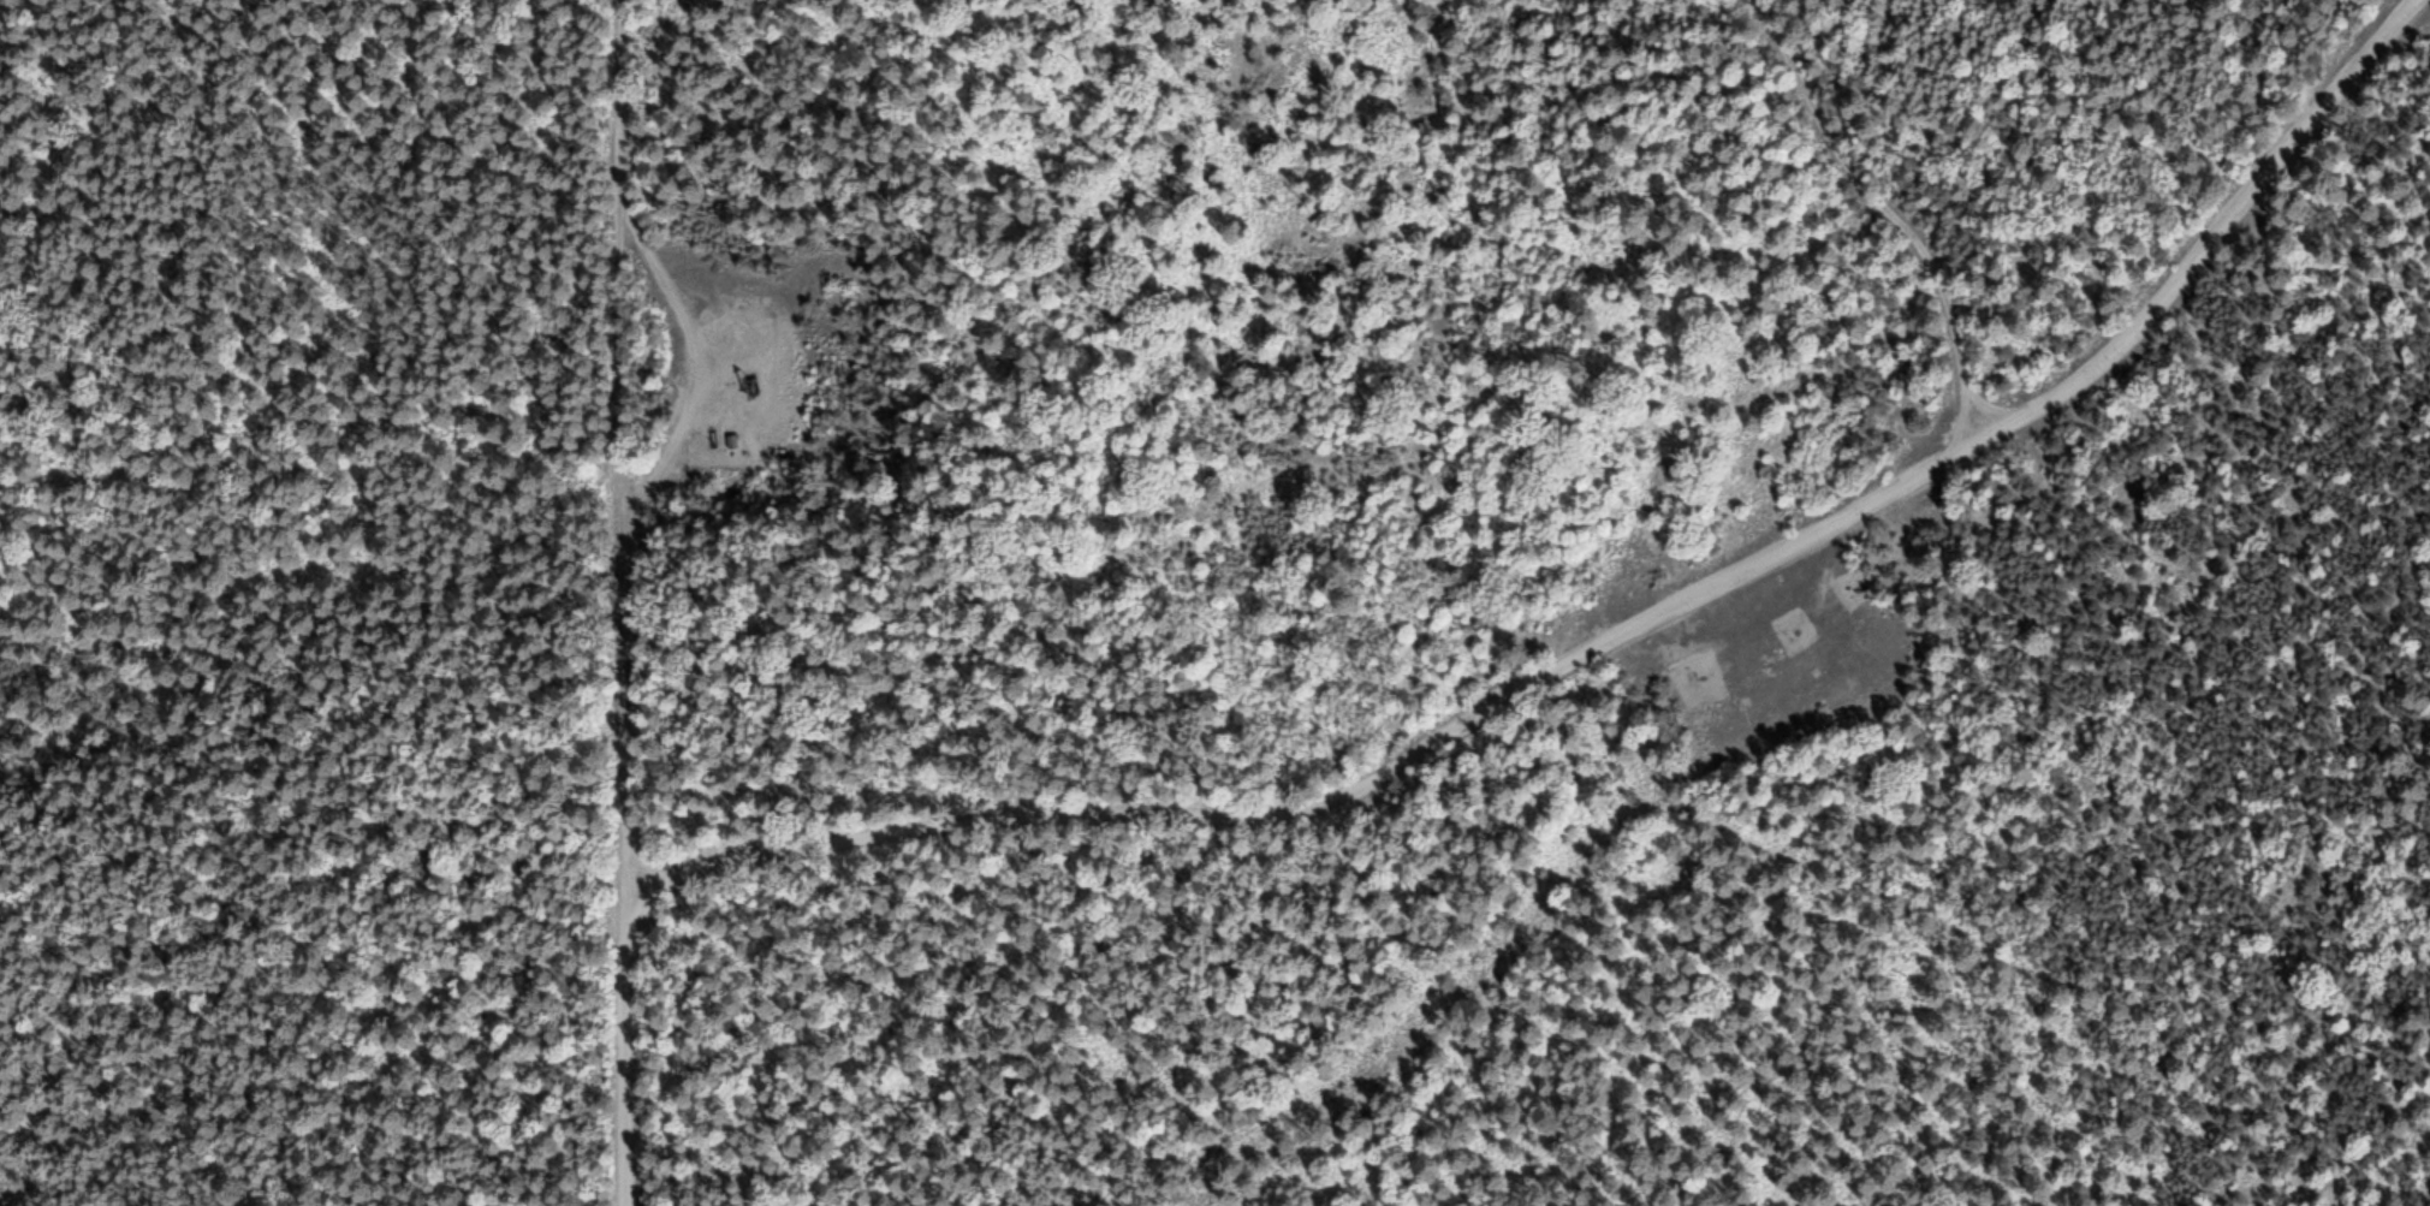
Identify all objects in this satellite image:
road: (1890, 208)
road: (622, 350)
petroleum well: (761, 374)
road: (625, 584)
road: (1609, 631)

